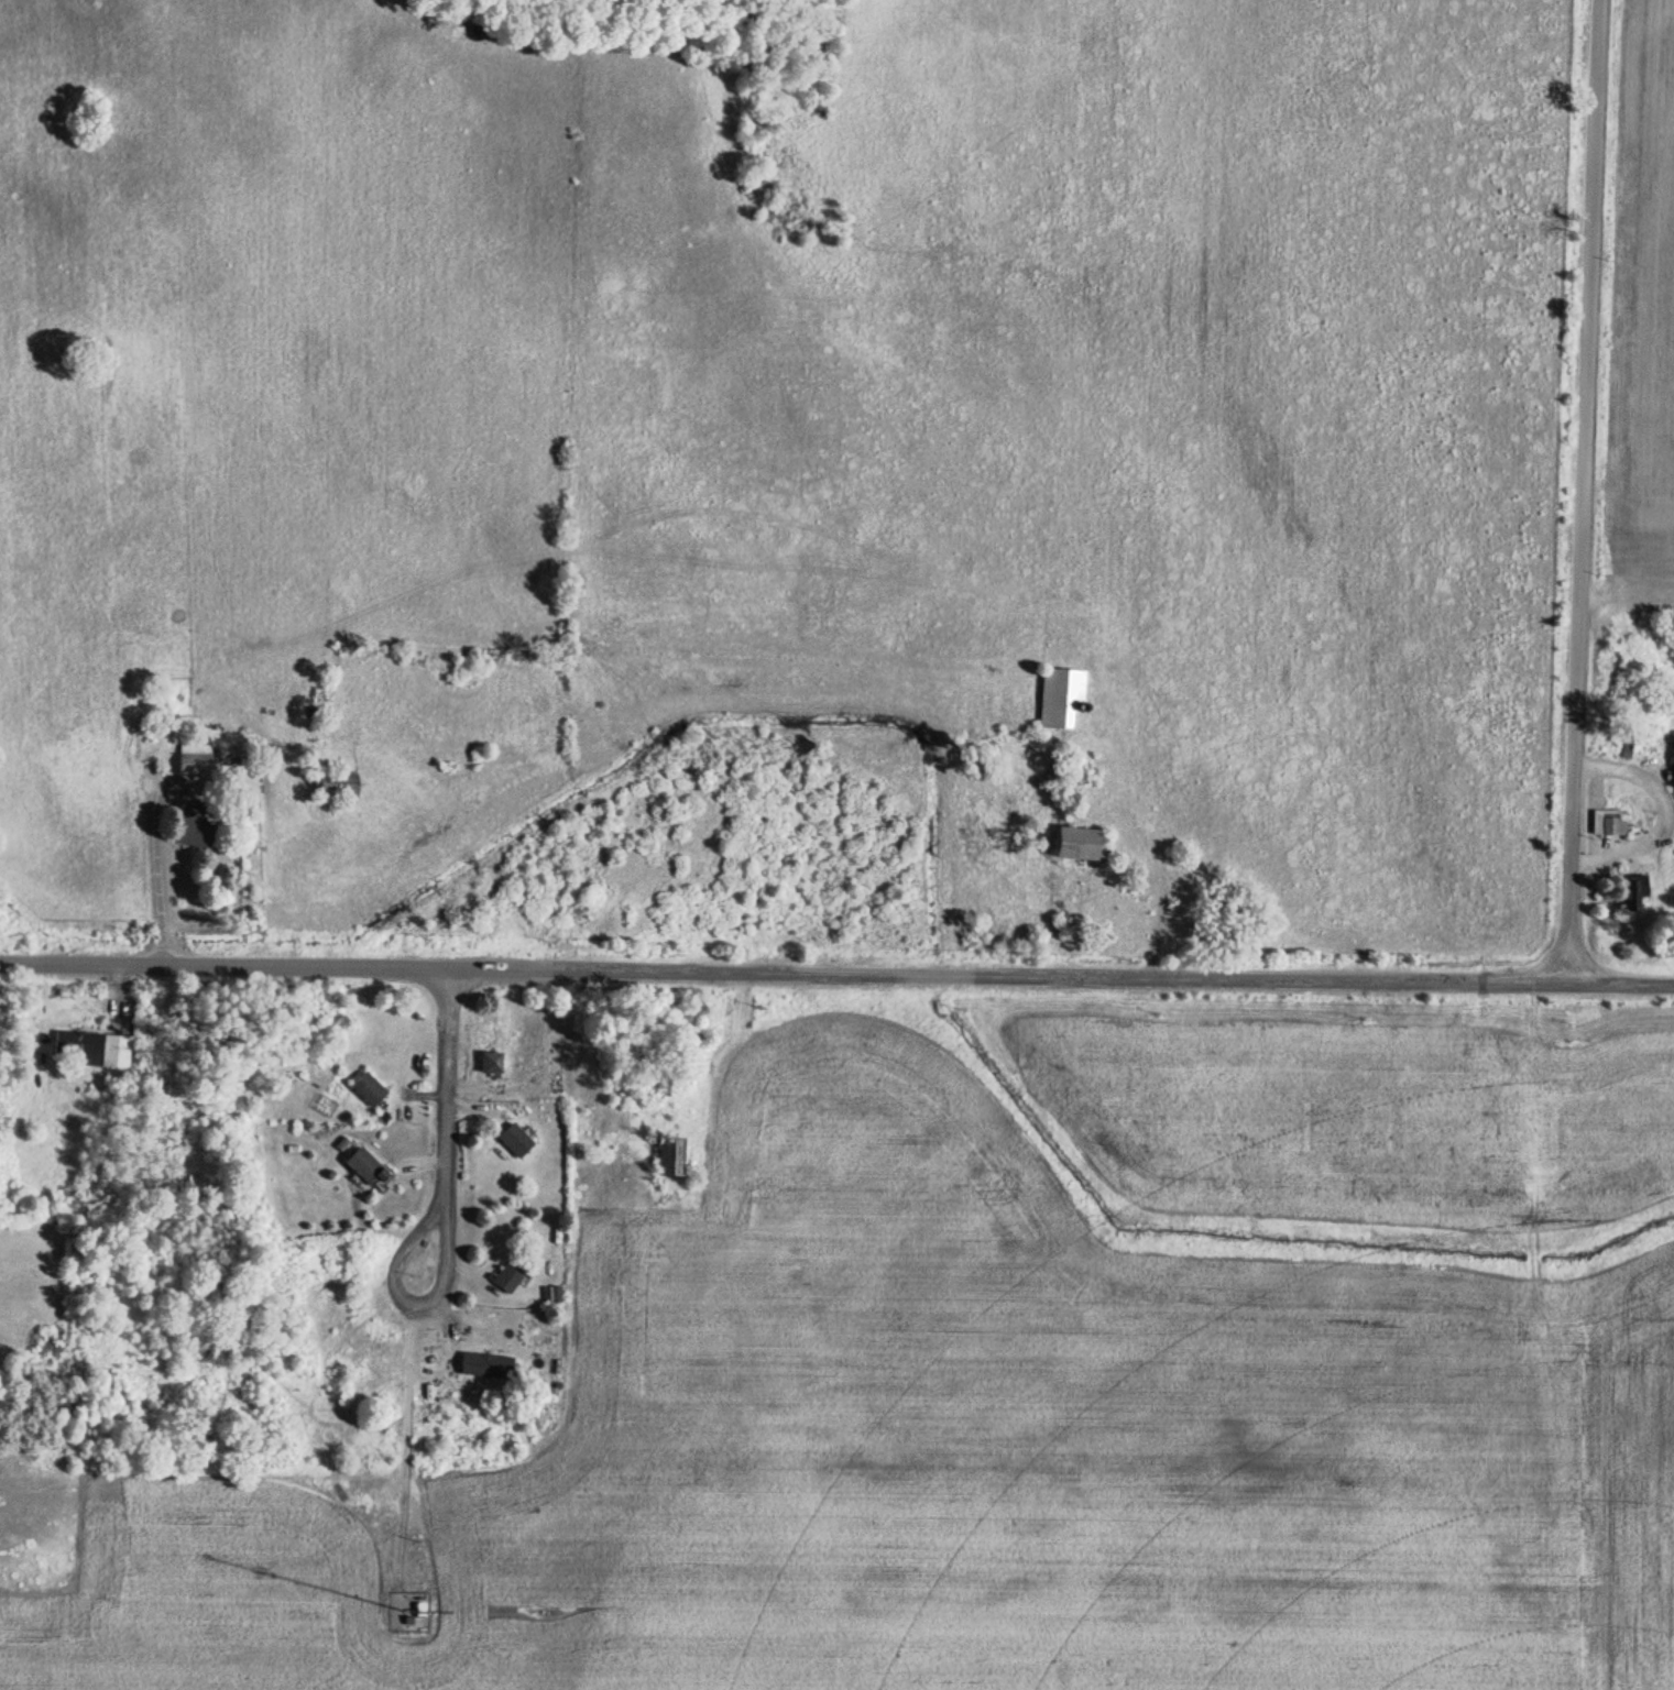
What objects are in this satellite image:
road: (1580, 489)
building: (1057, 696)
building: (187, 761)
building: (1672, 764)
building: (331, 786)
building: (1605, 824)
building: (188, 835)
building: (1066, 843)
building: (1630, 891)
road: (292, 964)
road: (1128, 972)
building: (95, 1050)
building: (486, 1064)
building: (363, 1090)
building: (512, 1142)
road: (445, 1143)
building: (665, 1156)
building: (361, 1167)
building: (504, 1276)
building: (551, 1297)
building: (496, 1342)
crop: (949, 1455)

